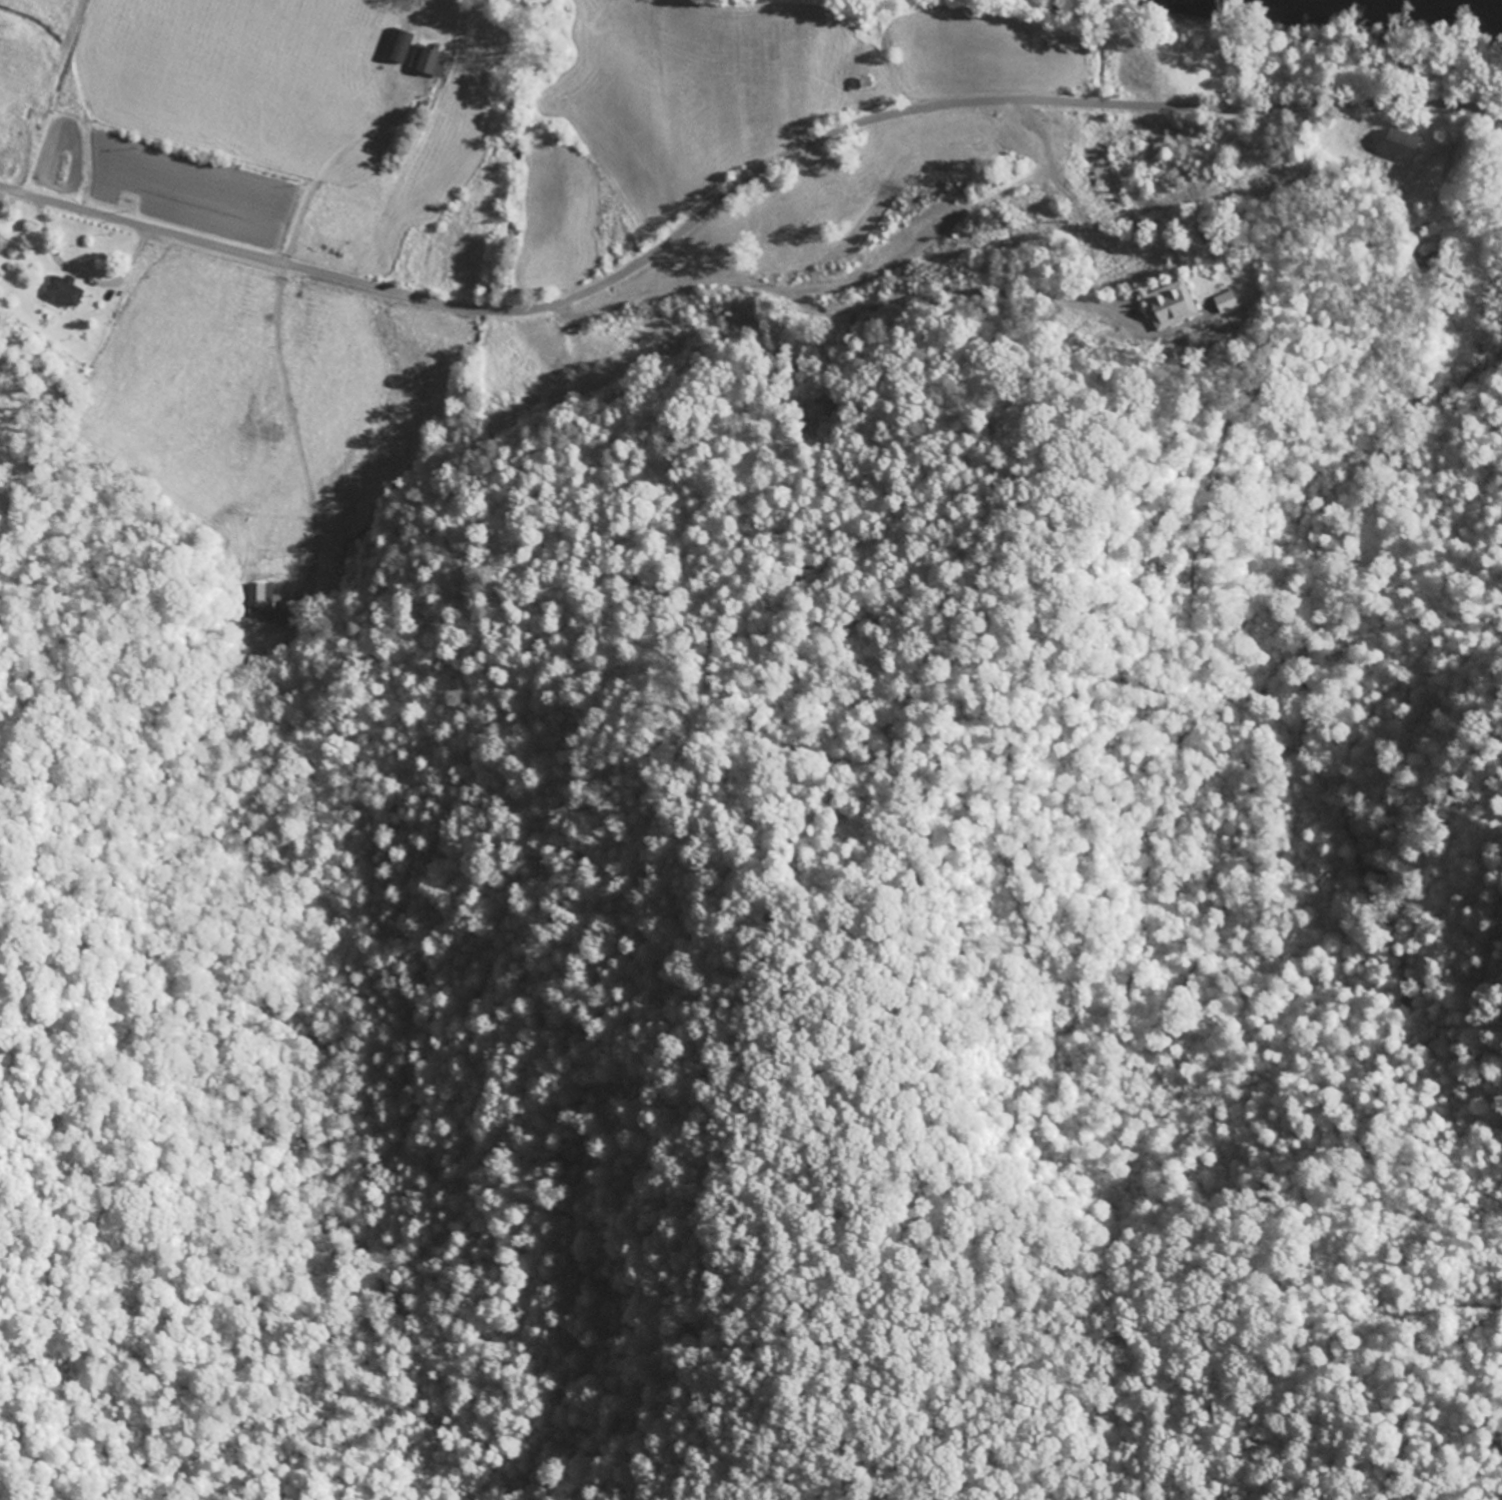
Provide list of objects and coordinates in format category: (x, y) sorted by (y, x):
building: (432, 61)
road: (1355, 107)
building: (1408, 145)
road: (617, 275)
building: (68, 291)
building: (1231, 302)
building: (1176, 306)

